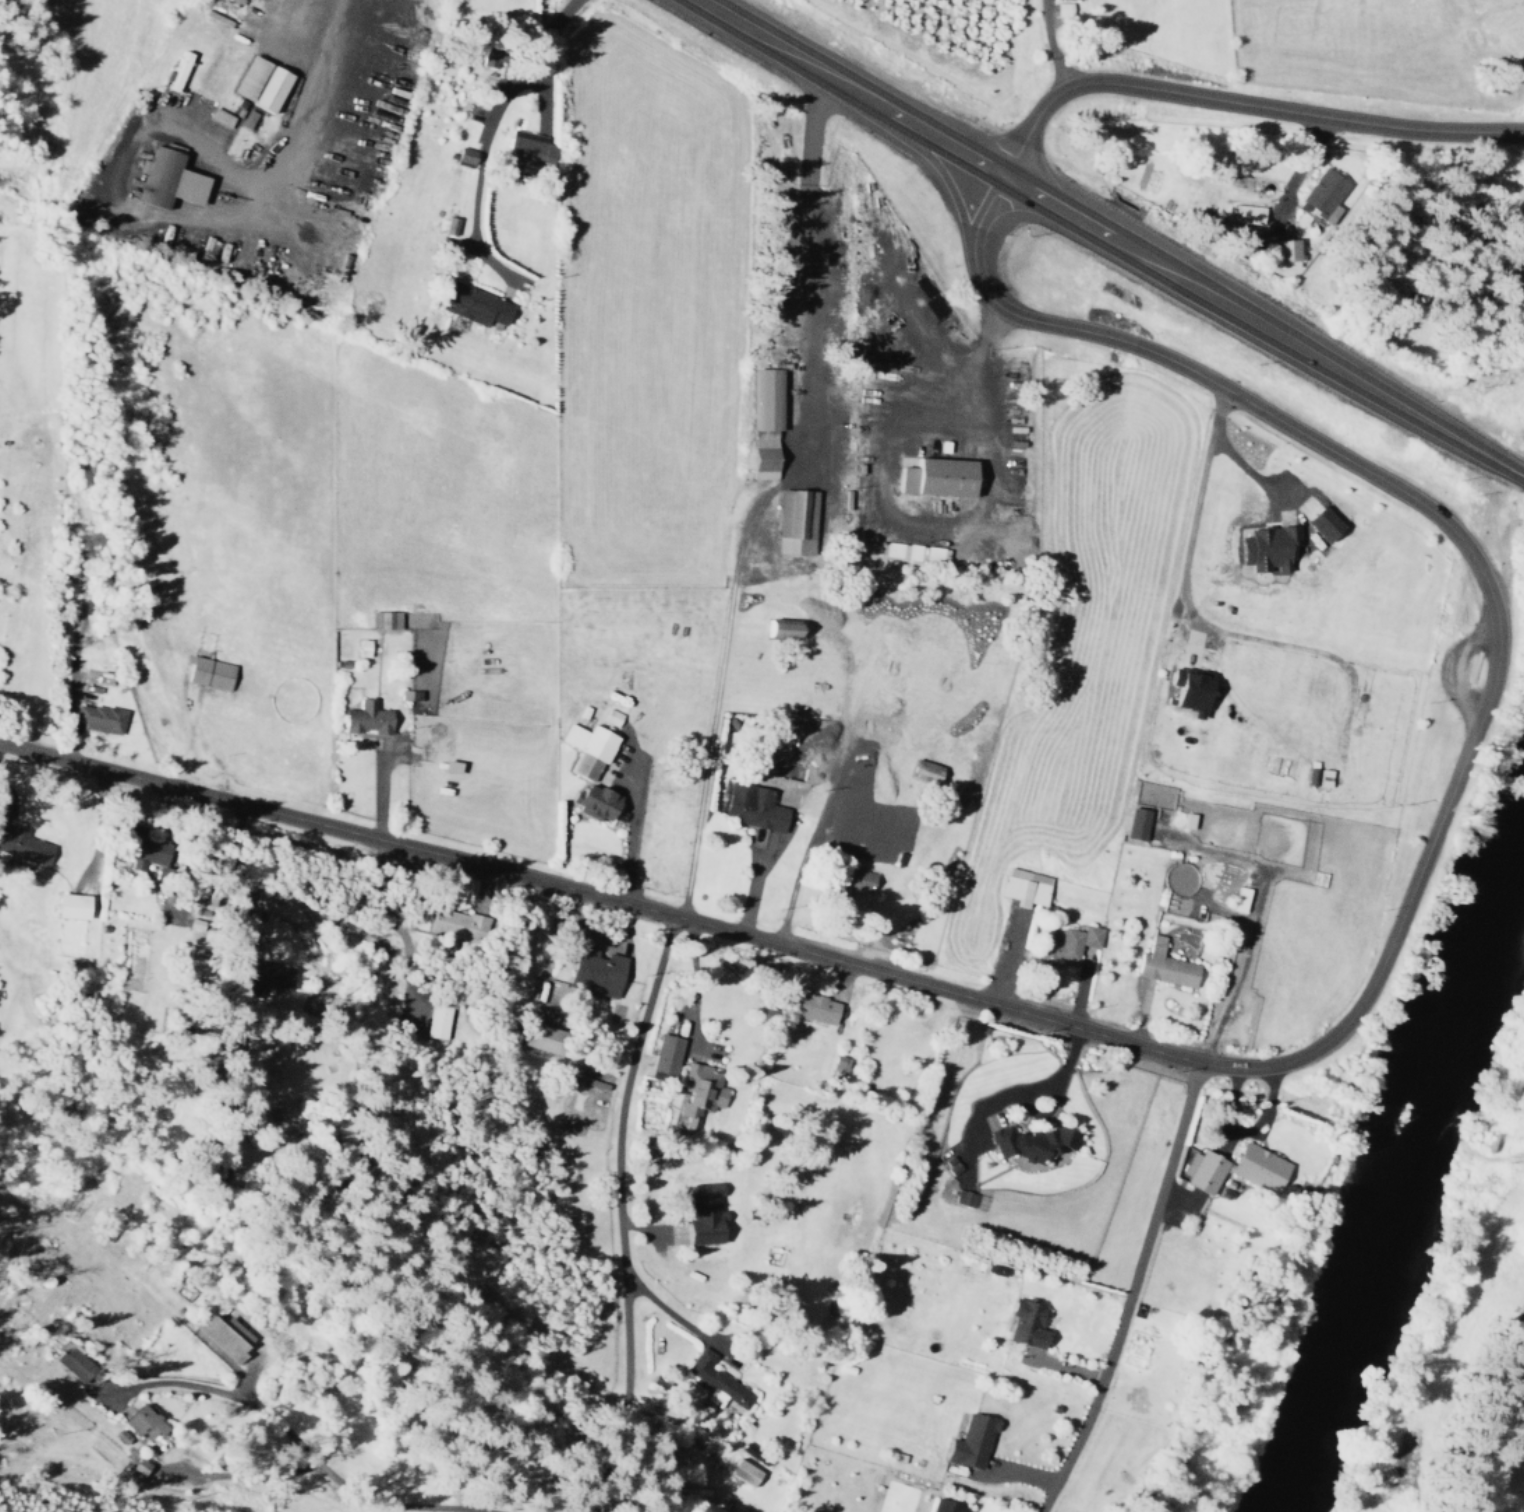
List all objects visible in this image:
building: (1059, 8)
building: (244, 77)
building: (264, 89)
road: (1238, 105)
building: (216, 117)
building: (244, 118)
road: (485, 142)
building: (526, 149)
building: (461, 154)
building: (160, 181)
building: (1319, 194)
building: (1245, 214)
road: (1108, 239)
building: (1281, 253)
building: (1523, 270)
building: (469, 305)
building: (760, 421)
building: (933, 477)
building: (791, 522)
building: (1316, 525)
building: (1263, 547)
road: (1197, 619)
building: (775, 629)
building: (364, 647)
building: (211, 673)
building: (1185, 690)
building: (612, 717)
building: (99, 718)
building: (367, 718)
building: (589, 748)
building: (928, 770)
building: (597, 801)
building: (754, 806)
building: (1133, 823)
building: (23, 844)
building: (150, 851)
building: (861, 879)
building: (1020, 886)
building: (1235, 899)
building: (73, 905)
building: (455, 923)
building: (1064, 943)
building: (1160, 965)
building: (598, 971)
building: (271, 975)
building: (815, 1007)
building: (437, 1018)
building: (543, 1037)
building: (665, 1057)
road: (1255, 1068)
building: (700, 1092)
building: (1028, 1143)
building: (1254, 1166)
building: (1200, 1172)
river: (1399, 1182)
building: (961, 1197)
road: (624, 1213)
building: (706, 1214)
road: (1128, 1291)
building: (1021, 1323)
building: (226, 1336)
road: (1511, 1352)
building: (85, 1374)
building: (715, 1381)
road: (469, 1406)
building: (144, 1422)
building: (119, 1436)
building: (973, 1440)
road: (1472, 1446)
building: (744, 1472)
building: (947, 1506)

